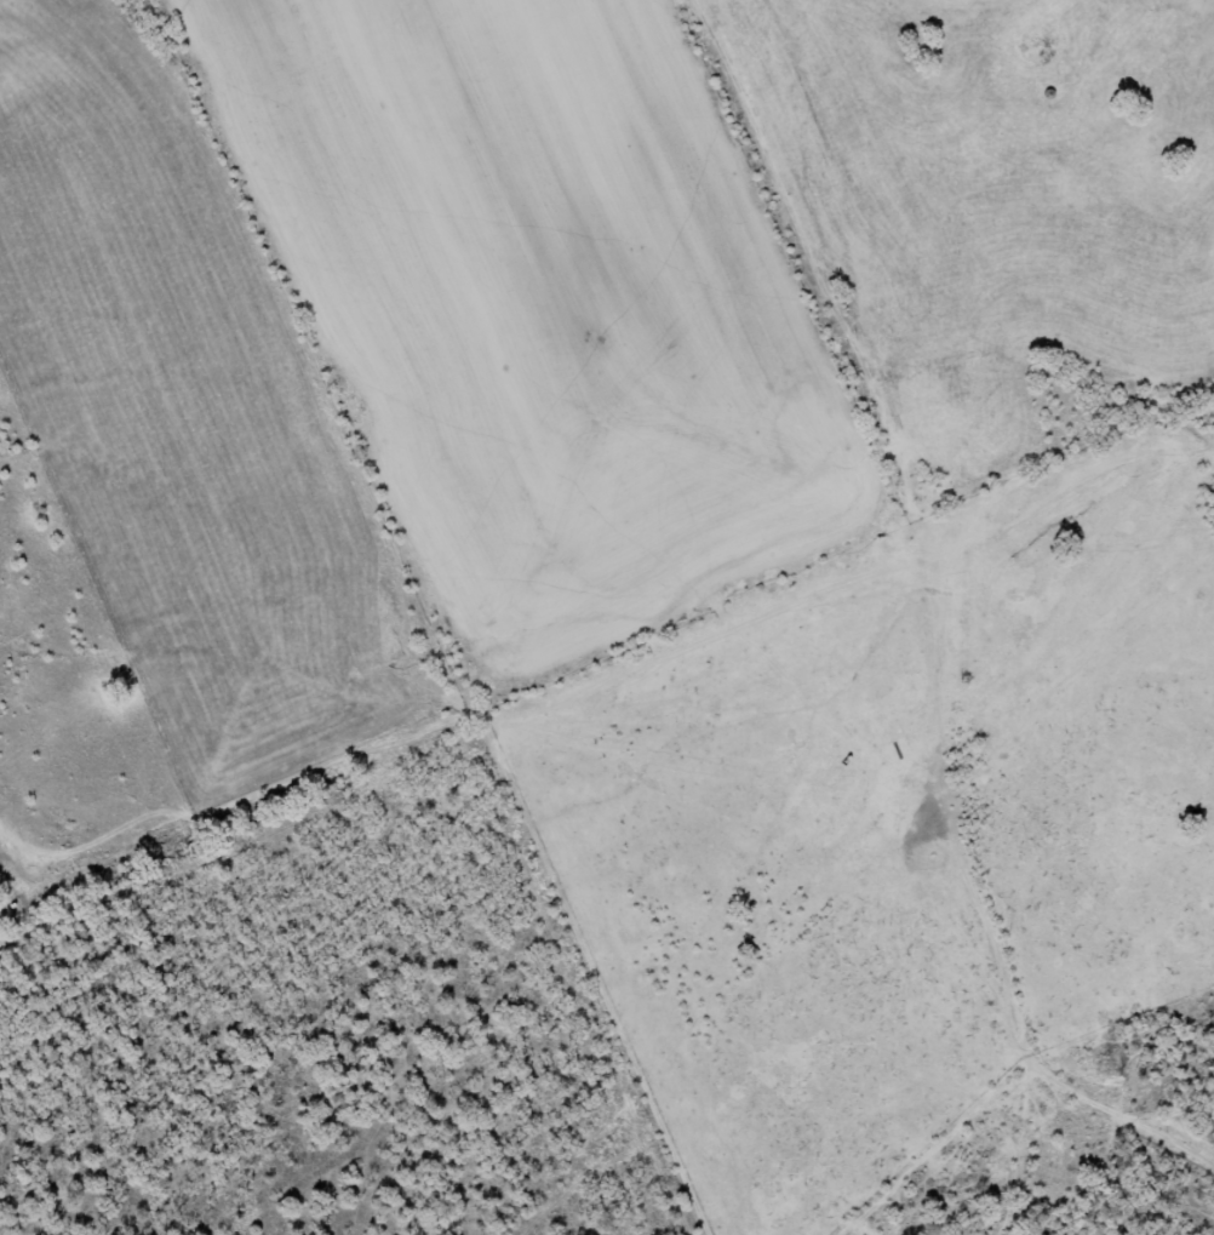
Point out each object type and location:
road: (1026, 583)

